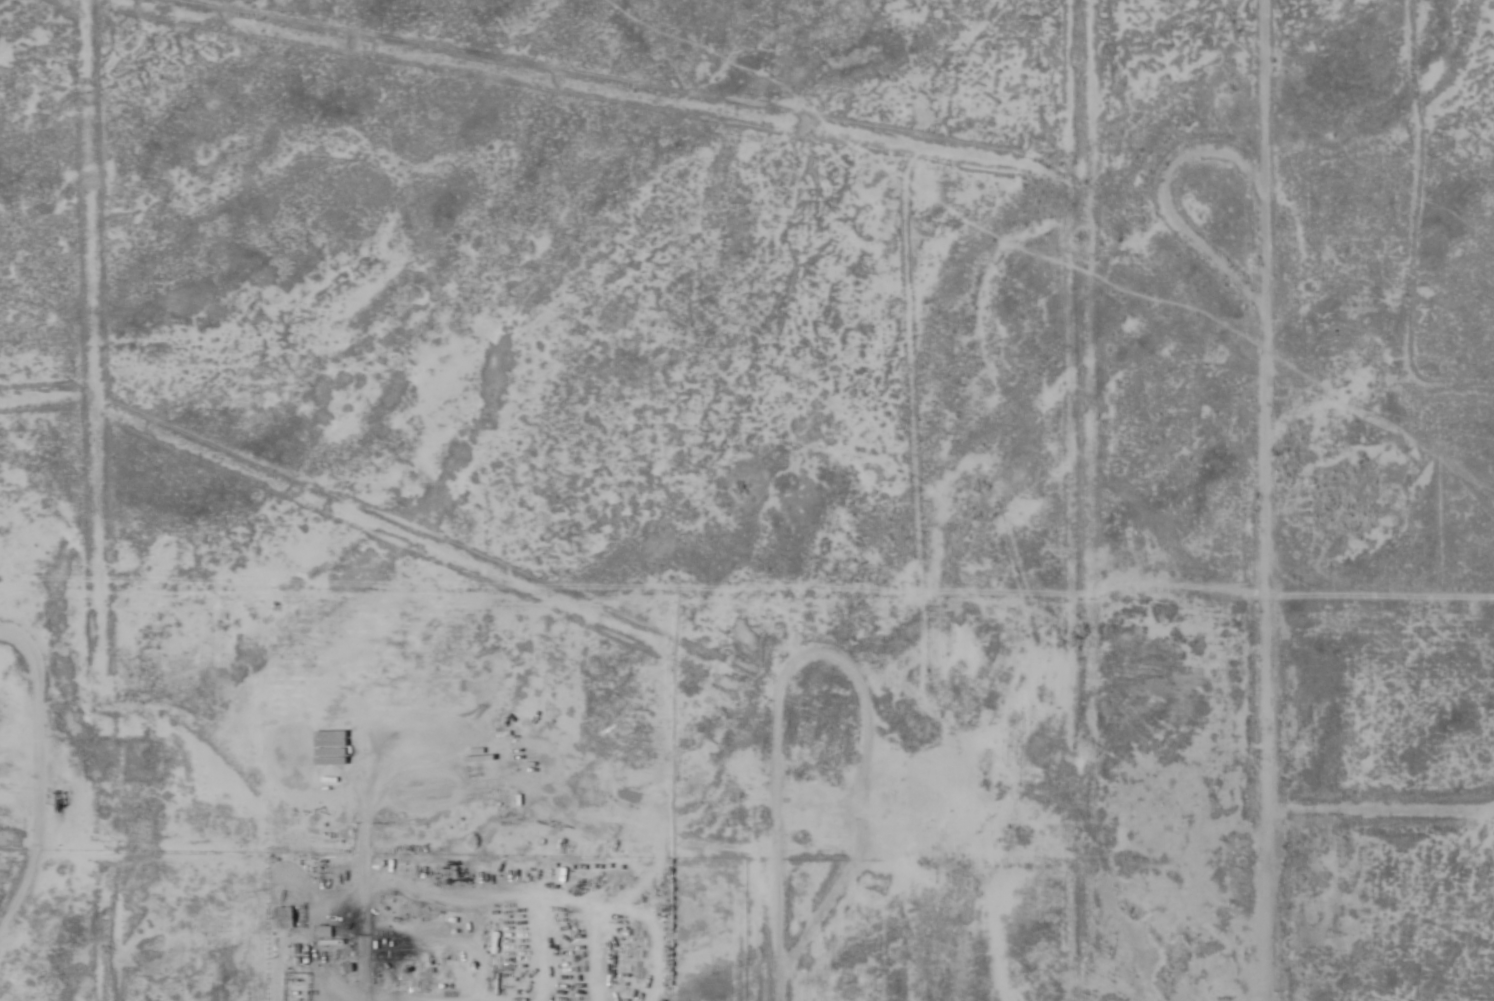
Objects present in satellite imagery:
road: (1161, 246)
road: (1252, 500)
road: (37, 791)
road: (832, 899)
road: (784, 968)

